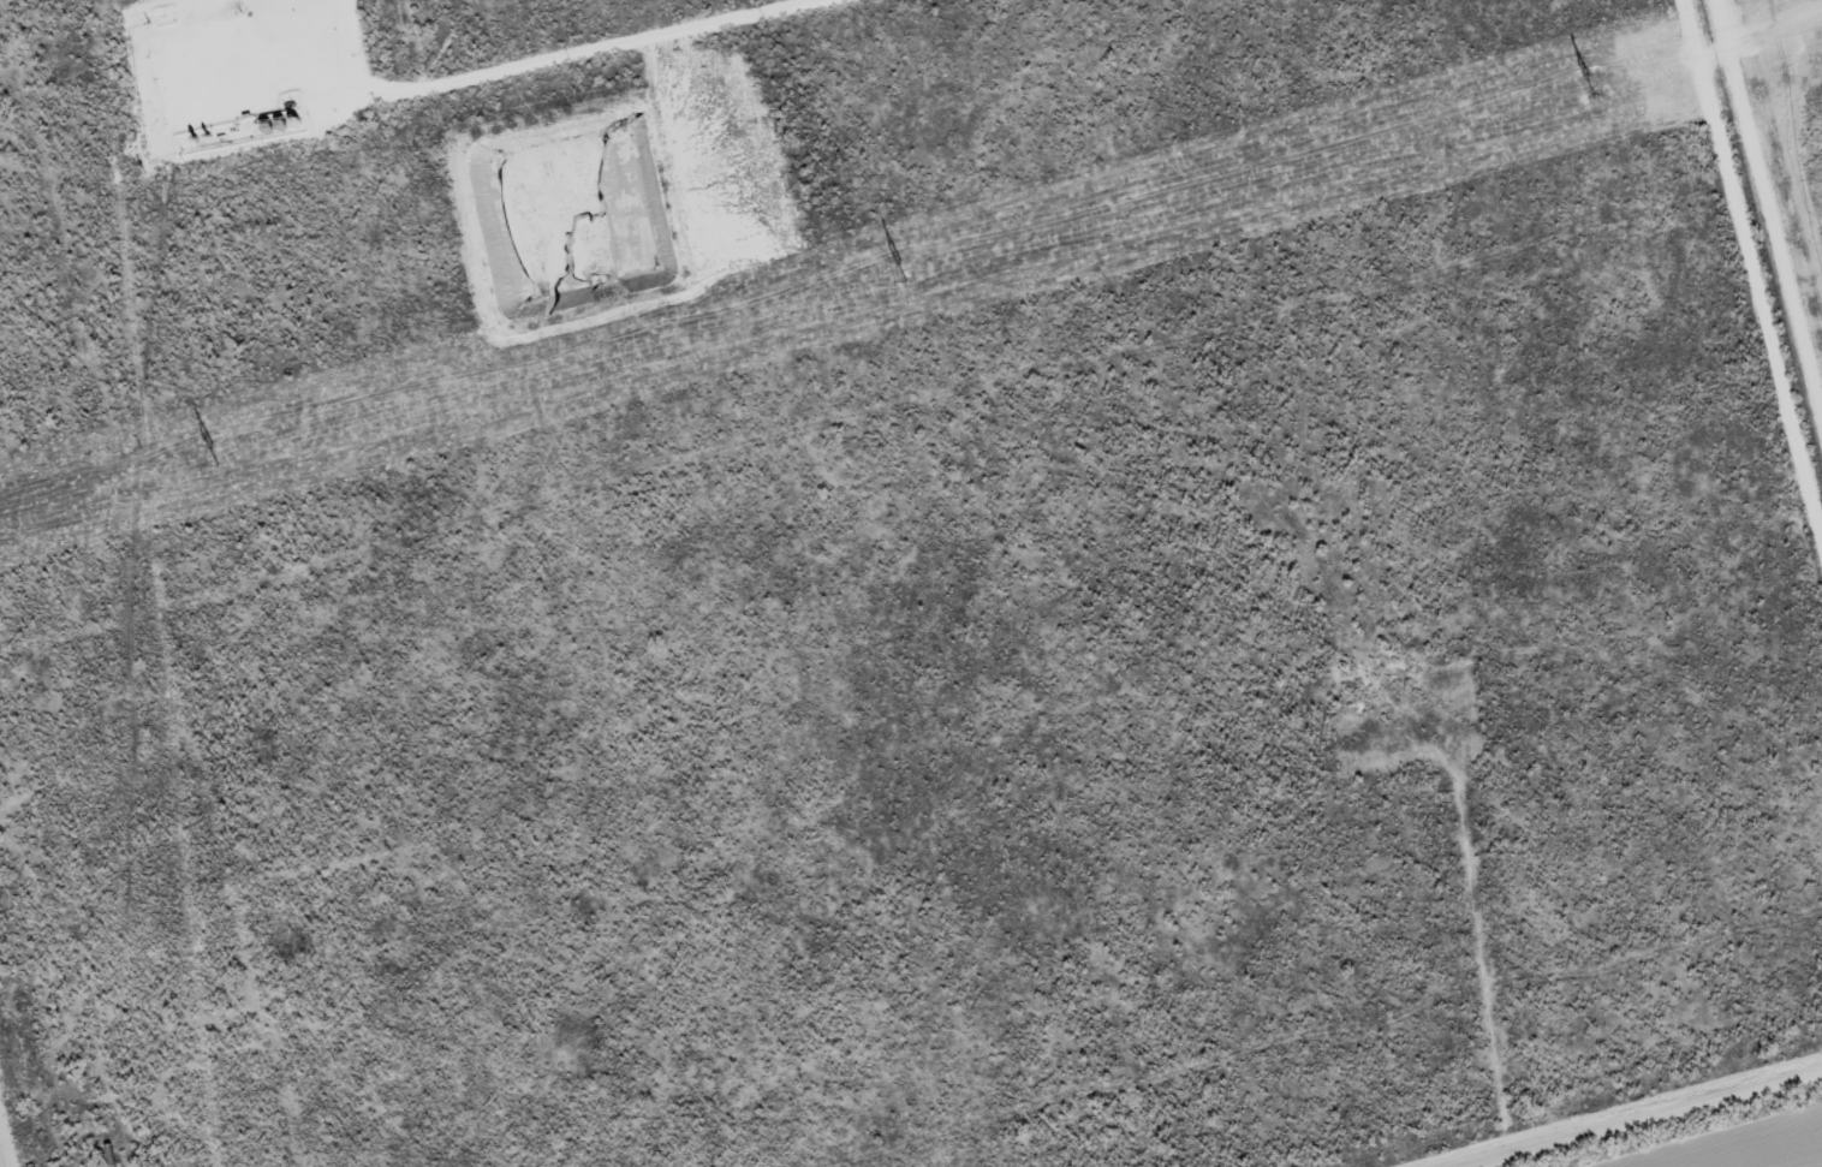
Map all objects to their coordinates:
power tower: (1589, 88)
power tower: (905, 270)
power tower: (215, 456)
road: (1669, 1125)

